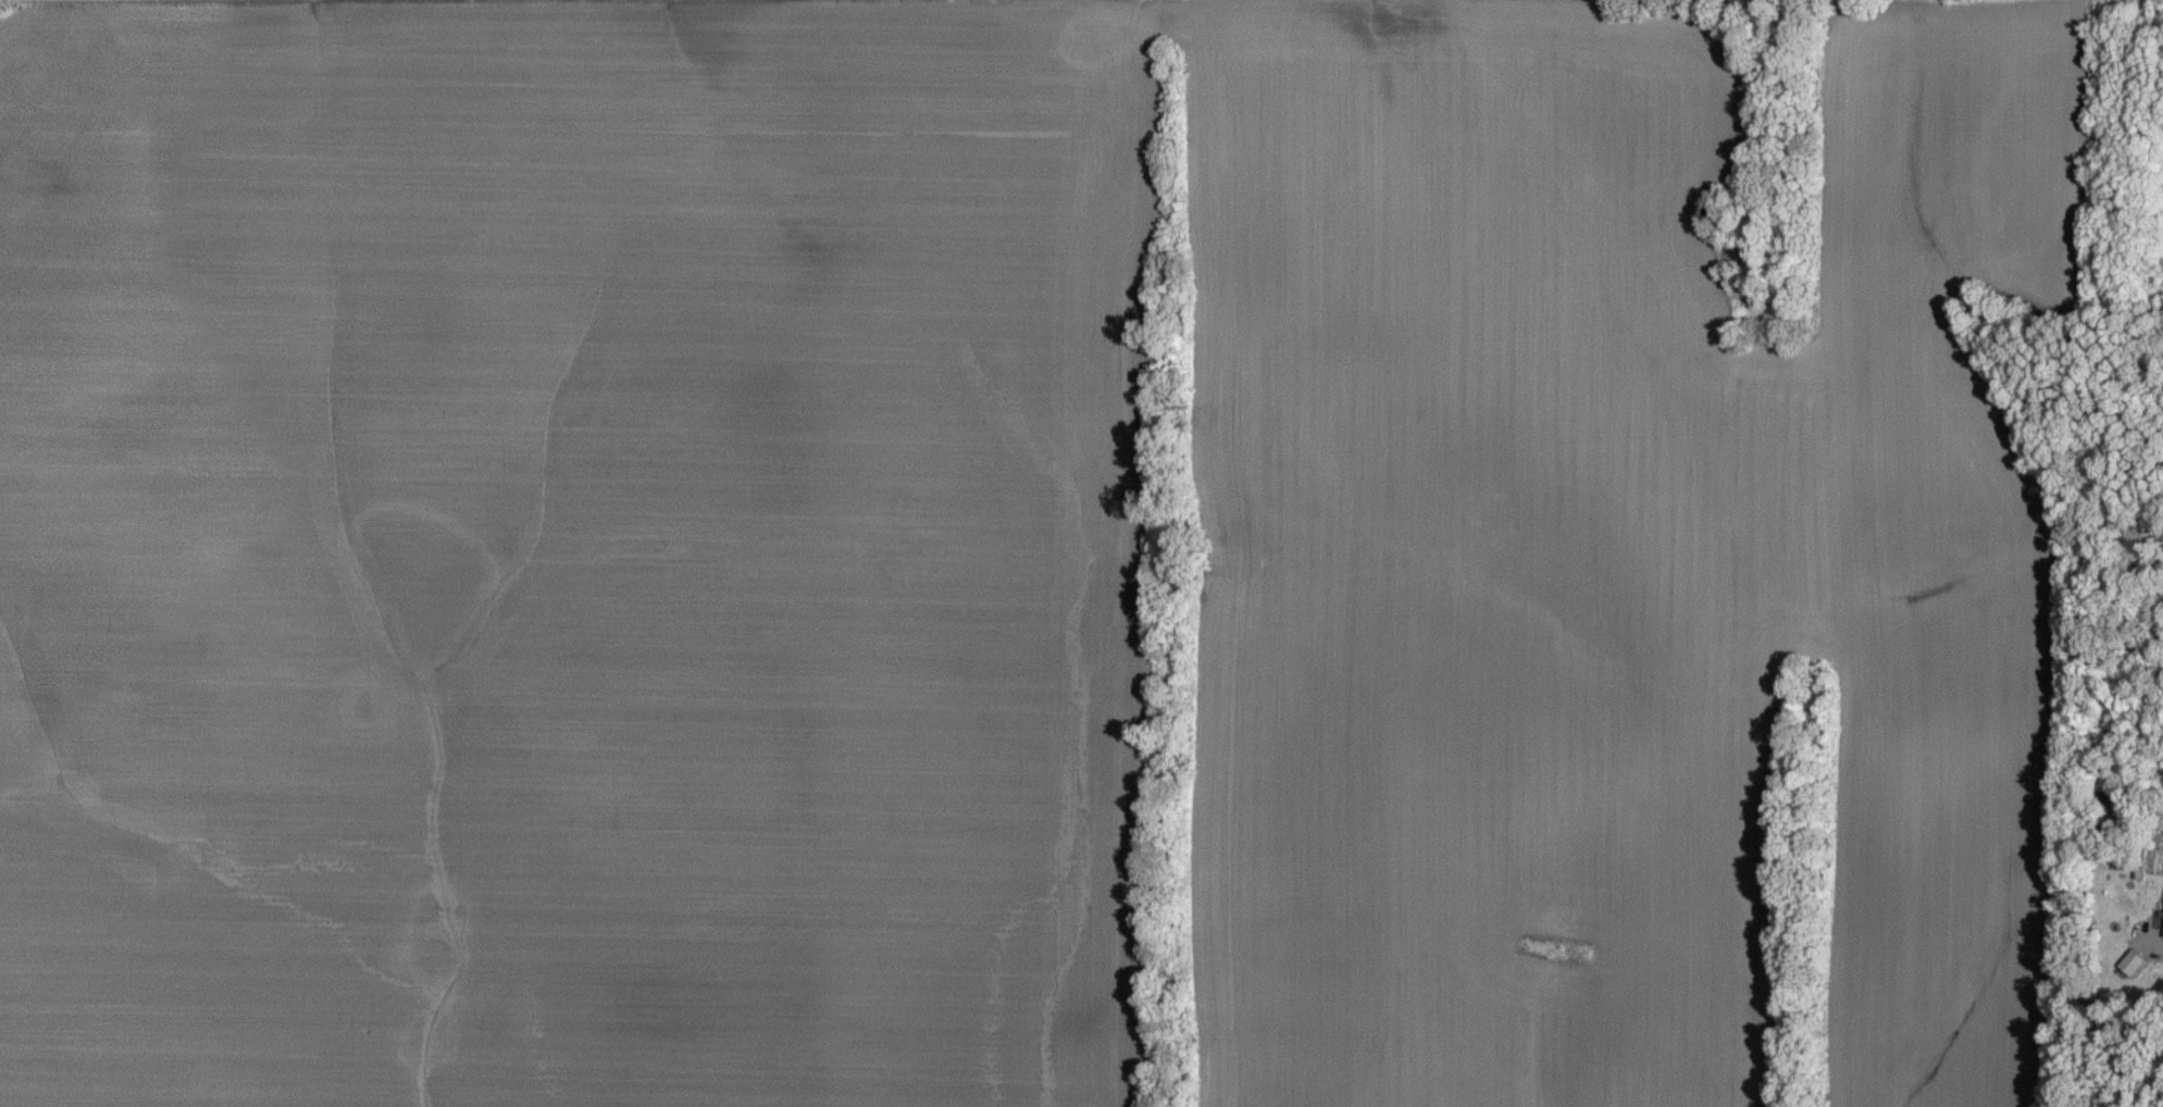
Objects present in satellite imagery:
road: (2154, 942)
building: (2131, 965)

